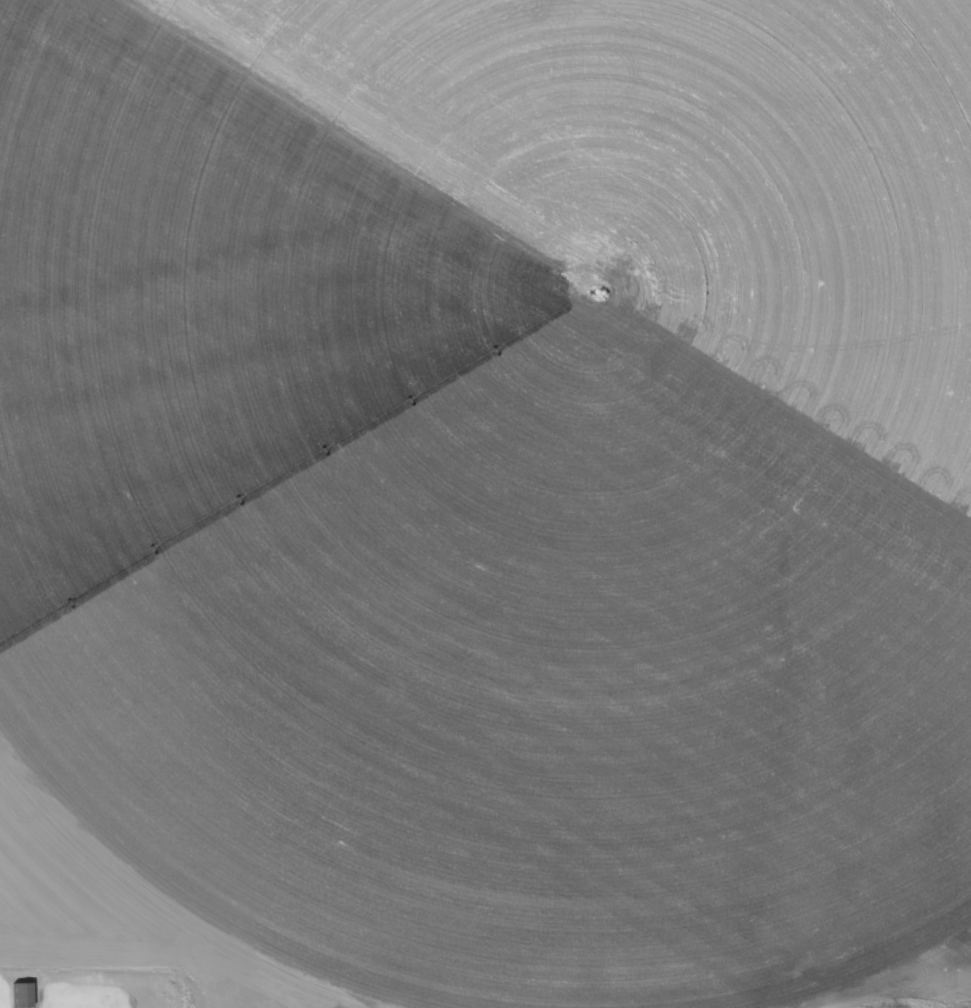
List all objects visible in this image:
building: (25, 995)

